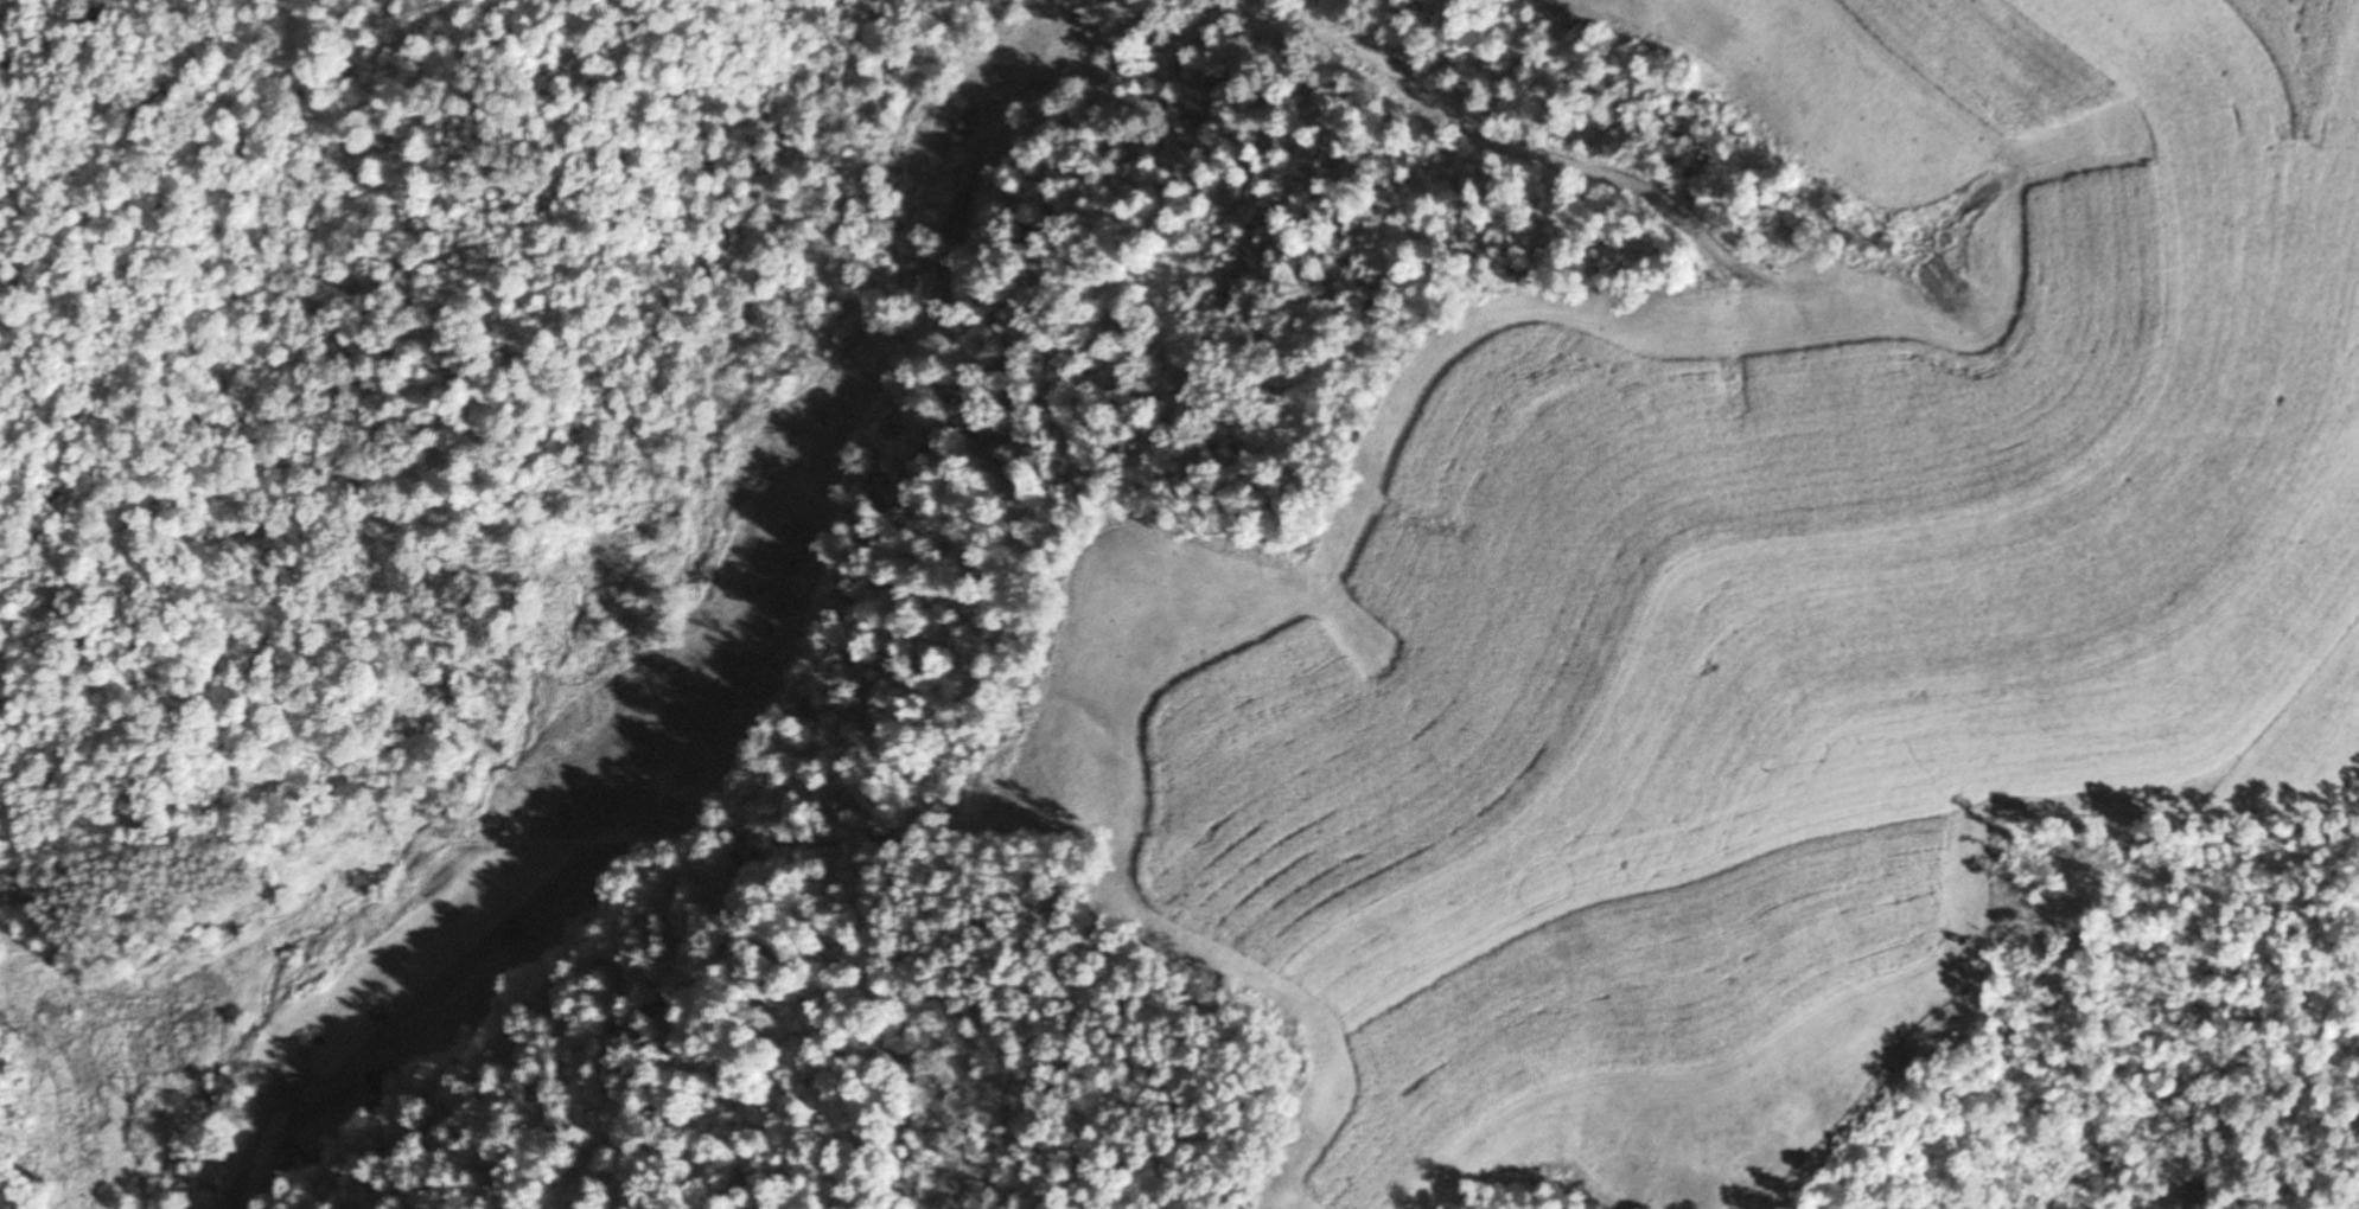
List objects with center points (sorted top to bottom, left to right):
crop: (1758, 608)

